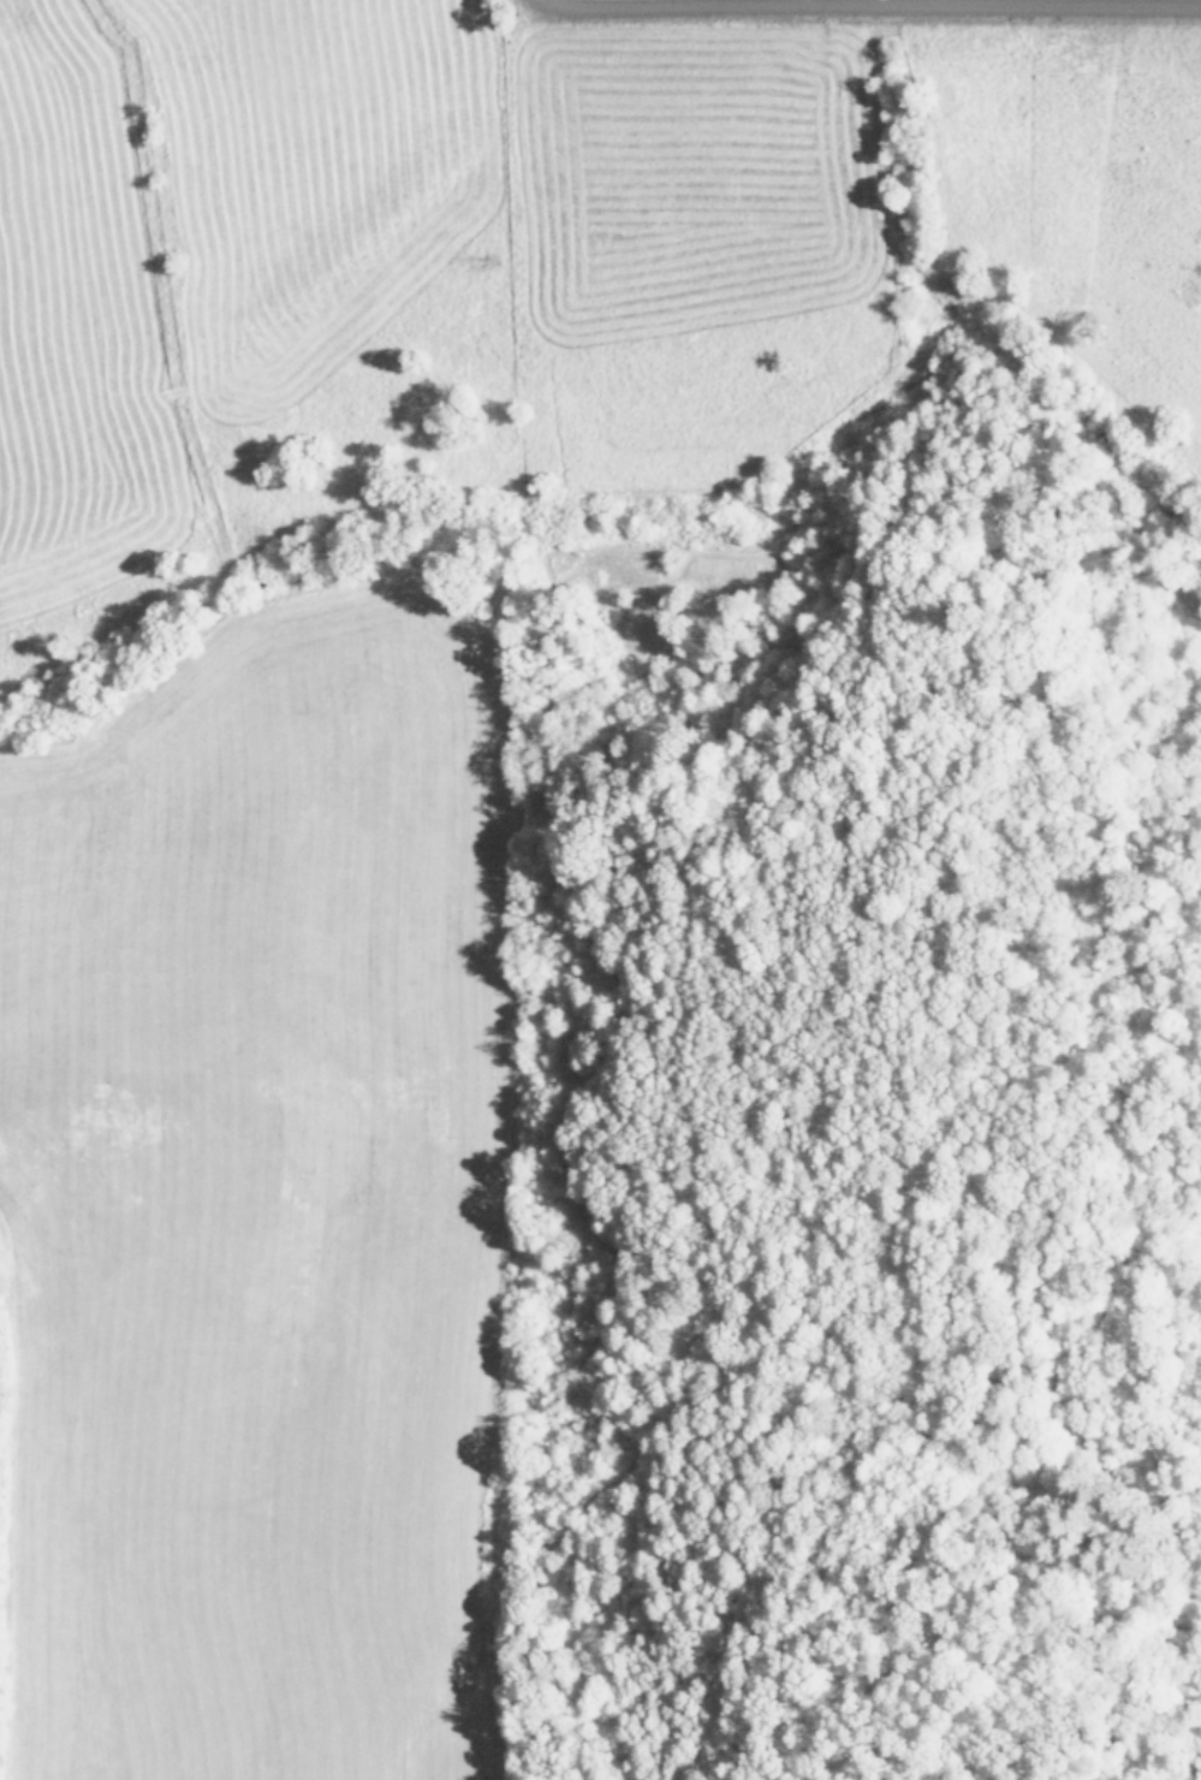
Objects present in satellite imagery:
road: (866, 5)

